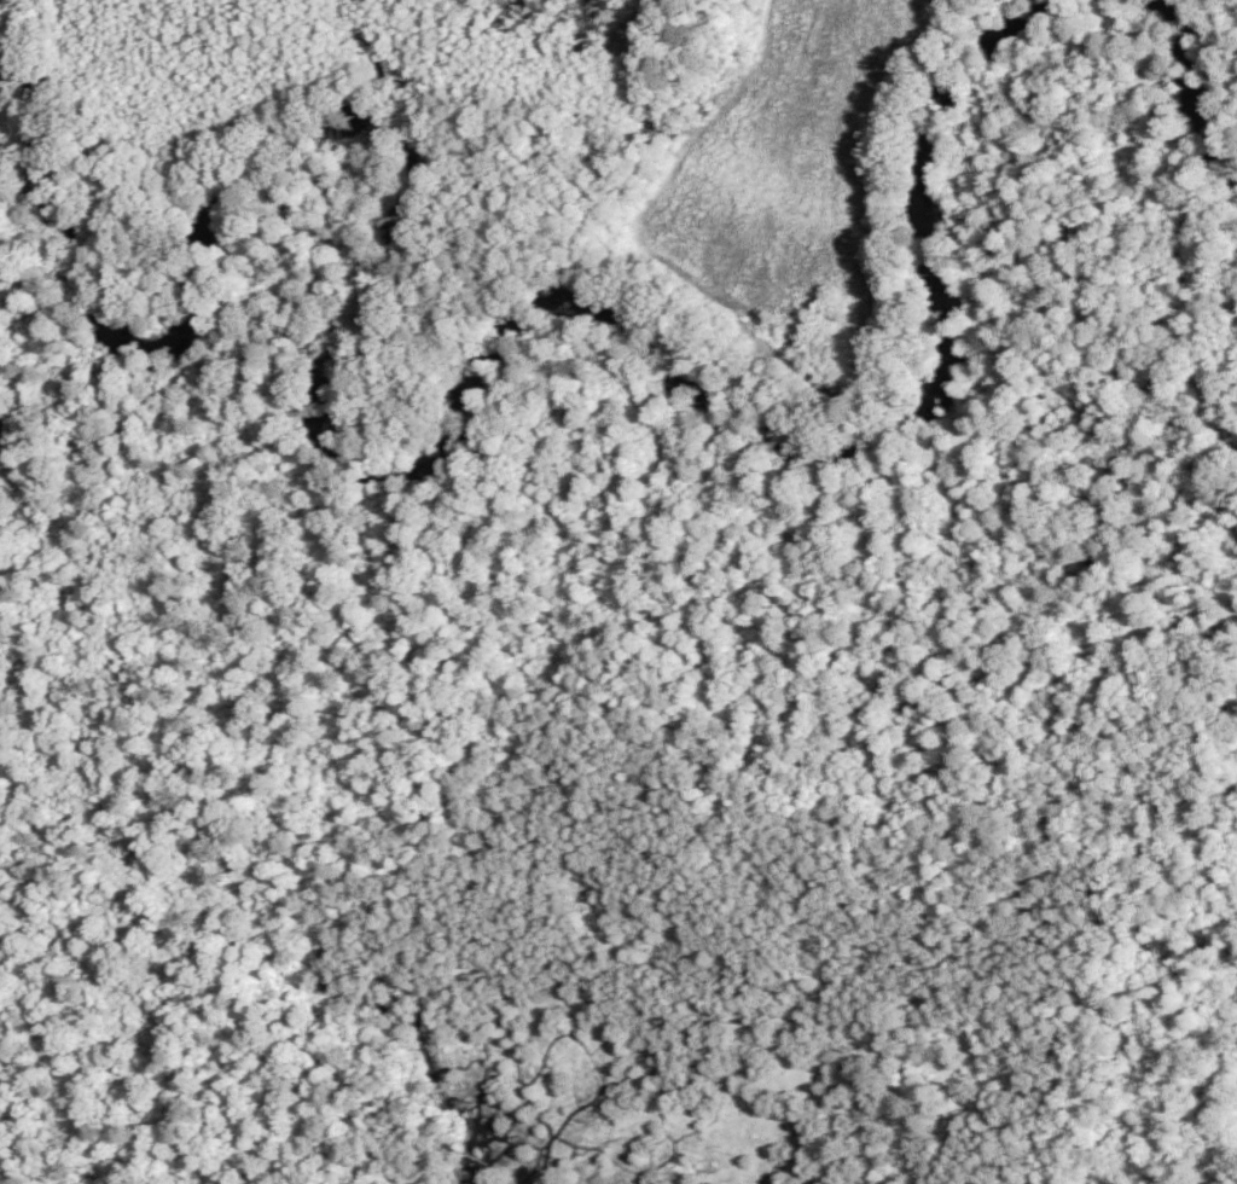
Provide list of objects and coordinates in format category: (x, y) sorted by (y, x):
river: (1200, 71)
river: (420, 465)

